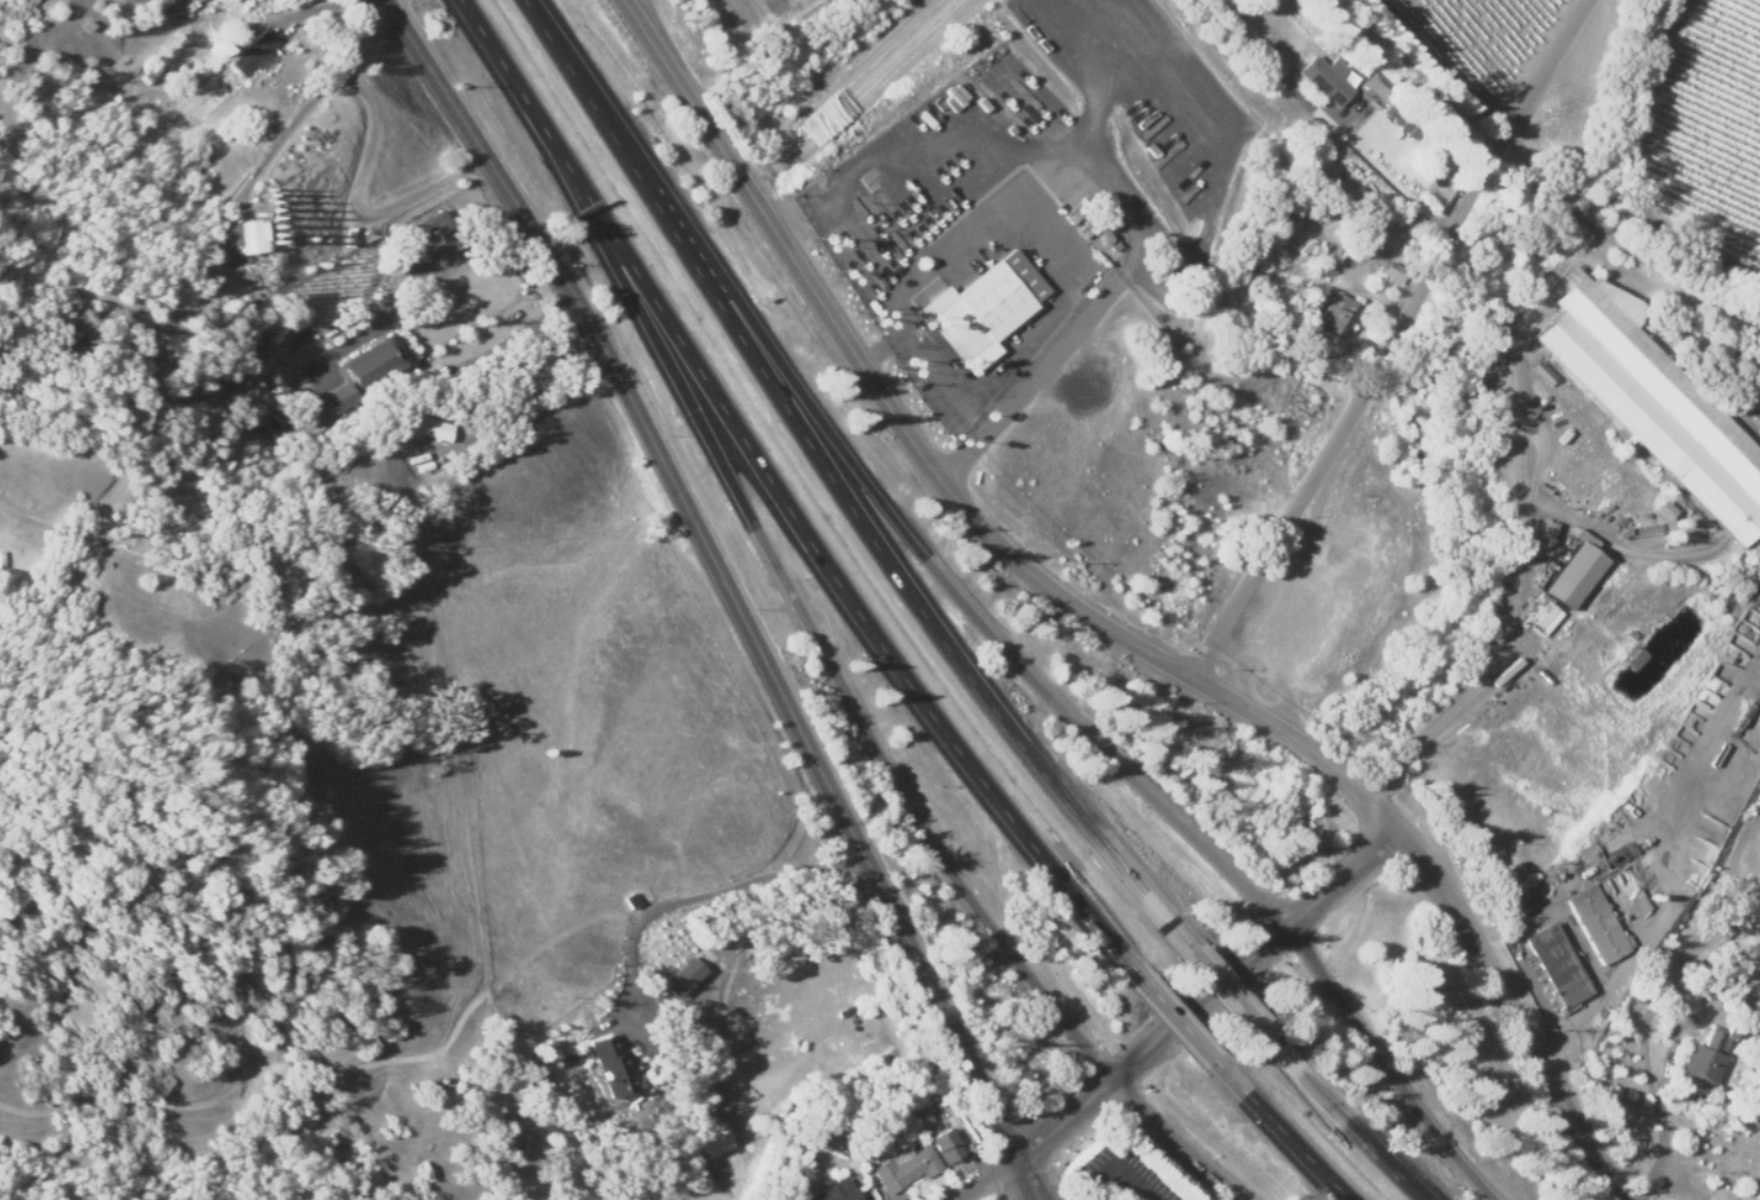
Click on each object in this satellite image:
building: (250, 52)
road: (1442, 68)
building: (1326, 78)
road: (1555, 78)
railway: (1420, 80)
building: (1375, 87)
road: (884, 105)
building: (207, 106)
road: (1359, 114)
building: (1403, 124)
road: (1124, 214)
building: (241, 238)
railway: (1626, 252)
road: (408, 288)
building: (985, 312)
building: (1335, 315)
building: (371, 362)
building: (1541, 372)
building: (338, 398)
building: (1659, 407)
road: (1349, 417)
building: (428, 428)
road: (834, 482)
road: (782, 503)
building: (1572, 576)
road: (725, 590)
road: (1503, 620)
road: (1105, 623)
road: (991, 627)
road: (846, 690)
road: (1346, 880)
road: (696, 894)
building: (1596, 923)
building: (1559, 967)
building: (683, 976)
road: (1225, 986)
road: (1187, 1024)
road: (1157, 1053)
building: (1703, 1058)
building: (609, 1064)
road: (1390, 1069)
road: (1349, 1118)
road: (1291, 1135)
building: (712, 1138)
building: (945, 1144)
road: (1176, 1146)
building: (905, 1167)
road: (1004, 1187)
building: (838, 1190)

